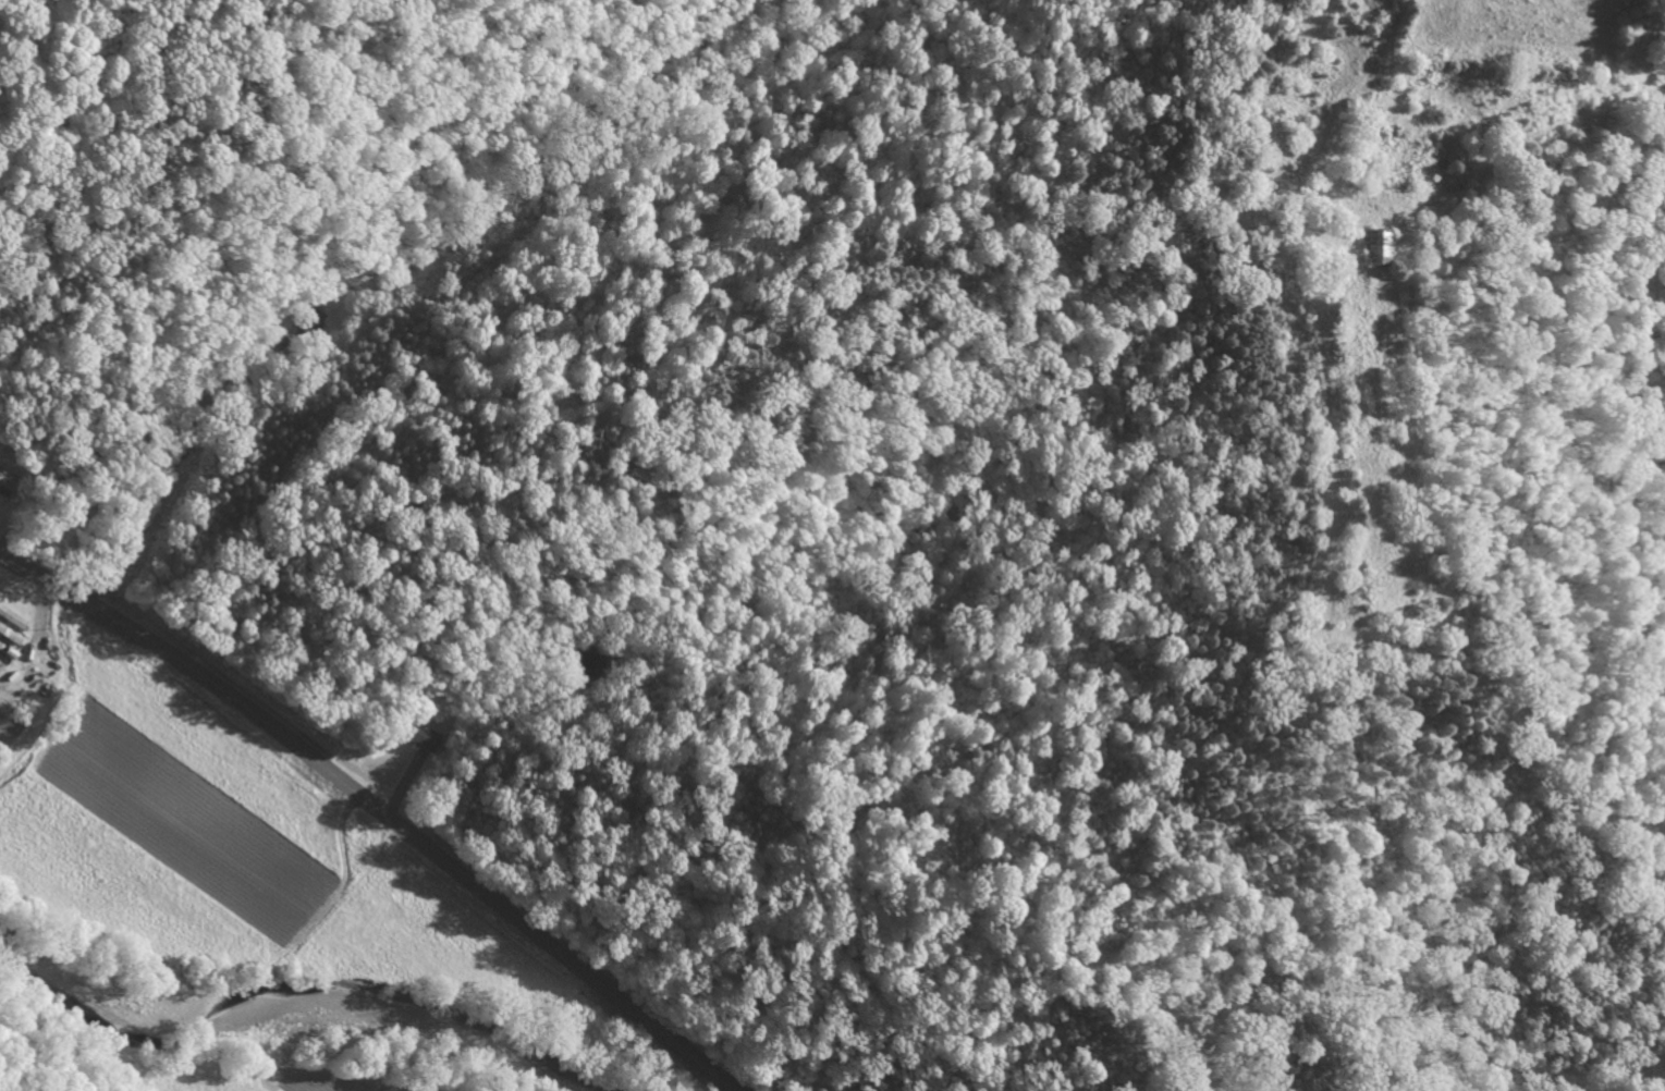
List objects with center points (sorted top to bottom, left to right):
building: (421, 737)
road: (377, 810)

